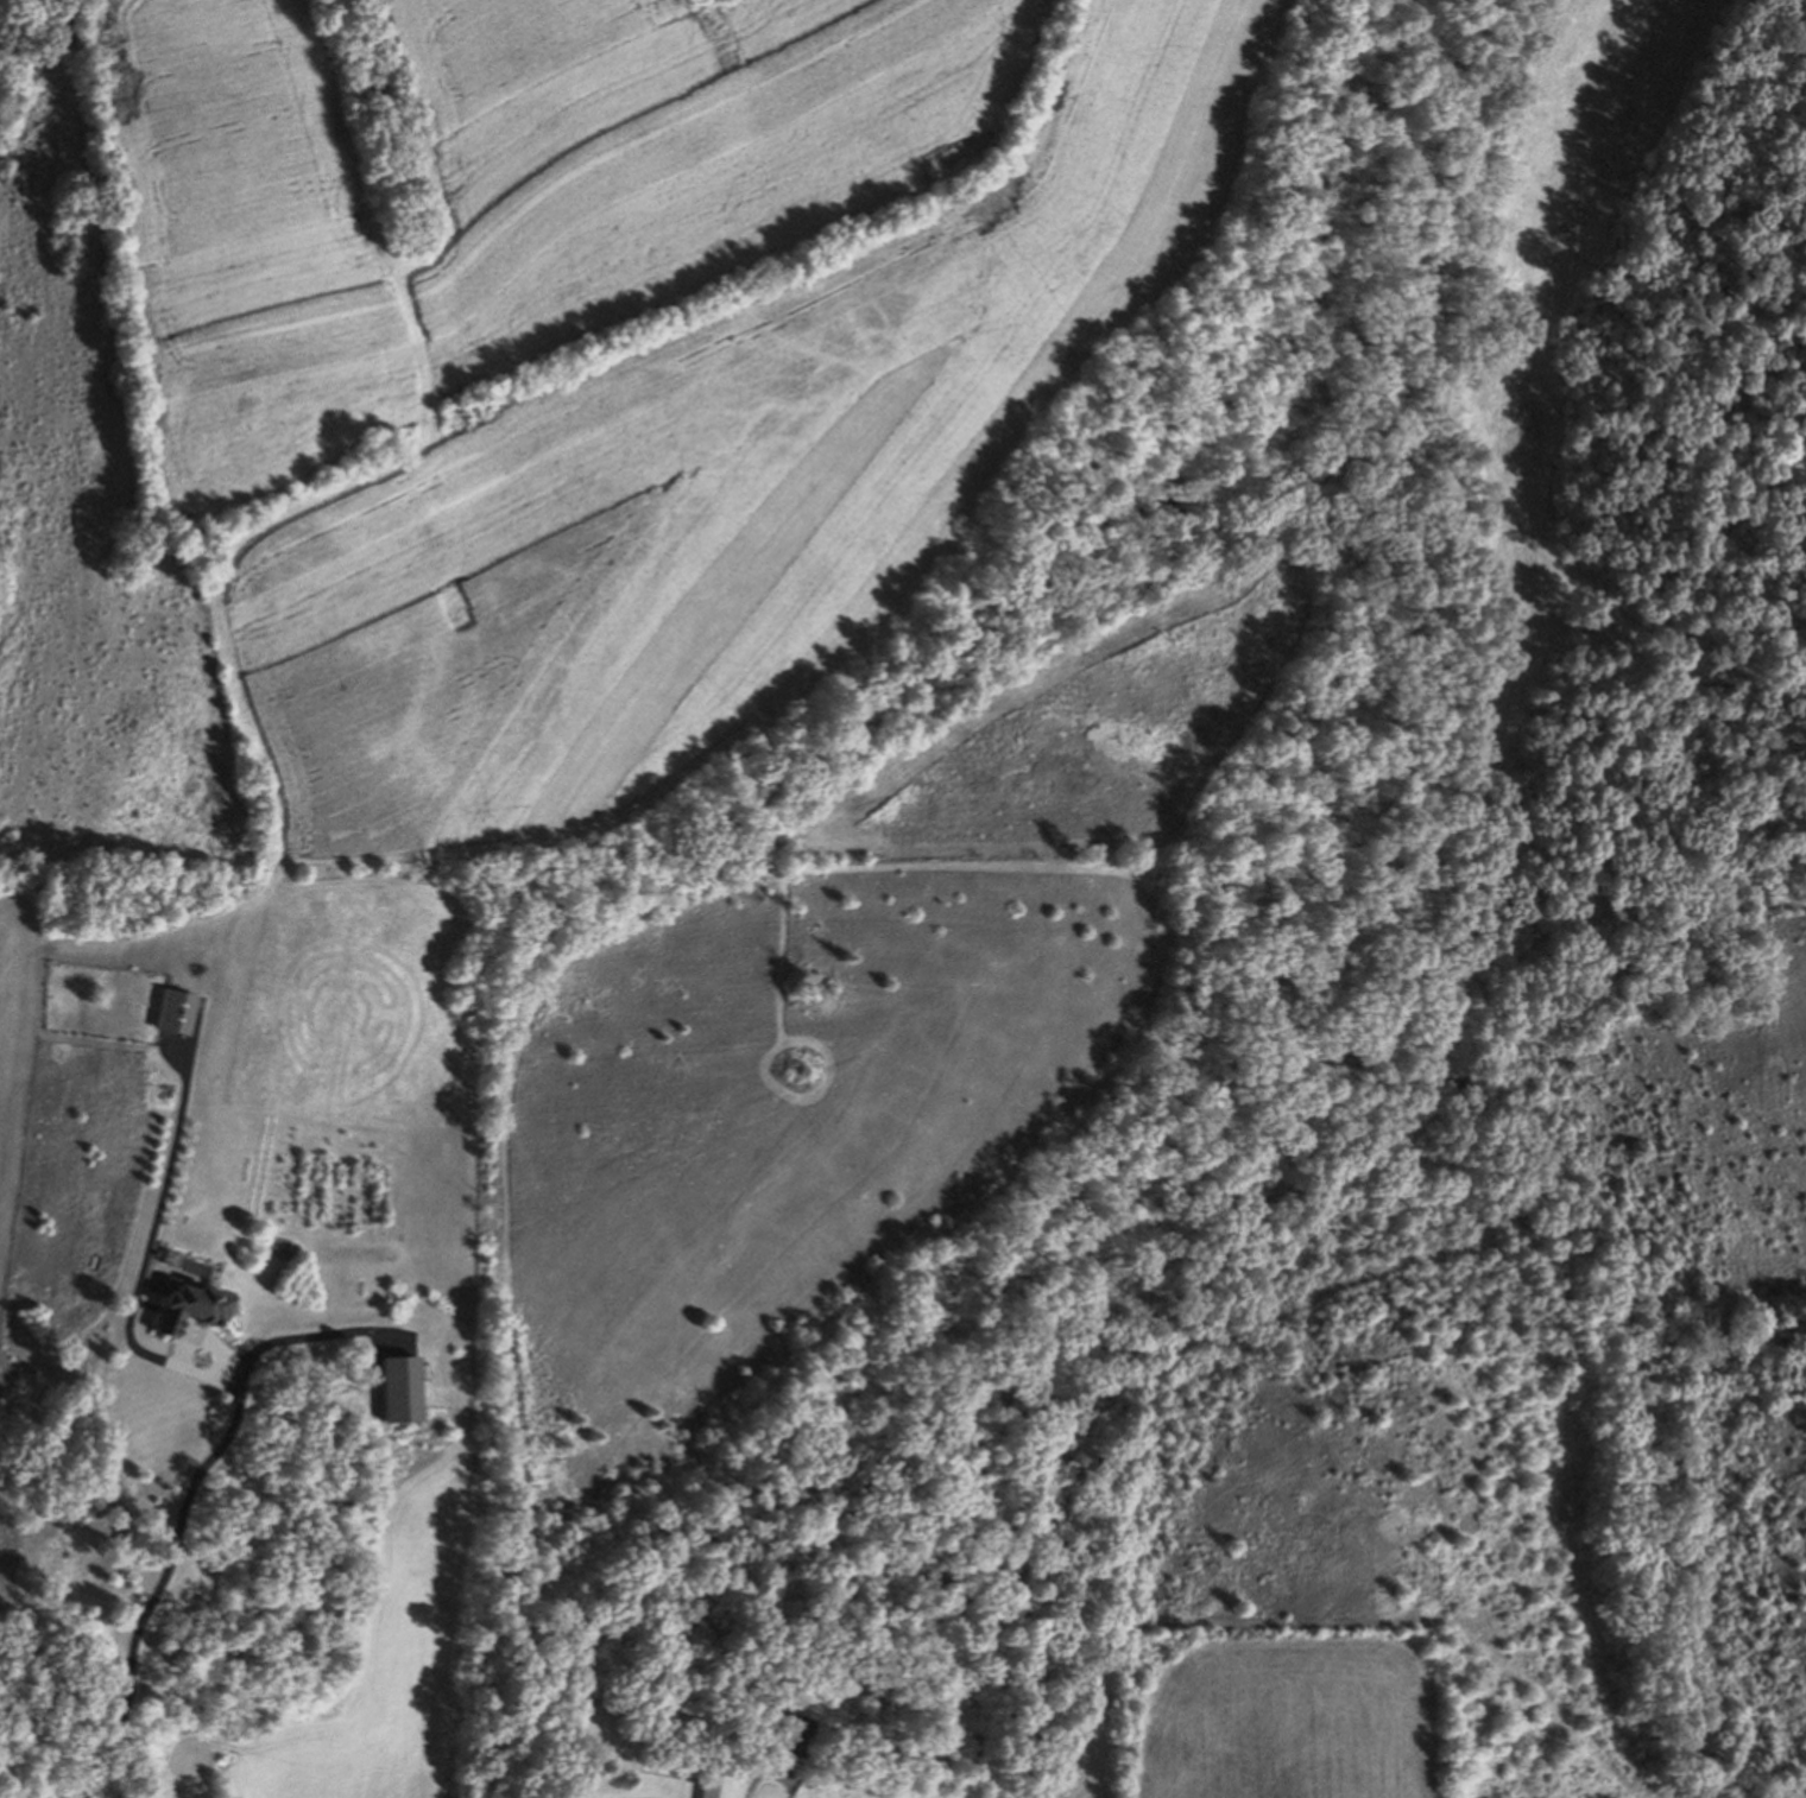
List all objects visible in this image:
building: (173, 1012)
road: (151, 1232)
building: (192, 1308)
building: (403, 1388)
road: (191, 1505)
building: (793, 1734)
road: (739, 1772)

